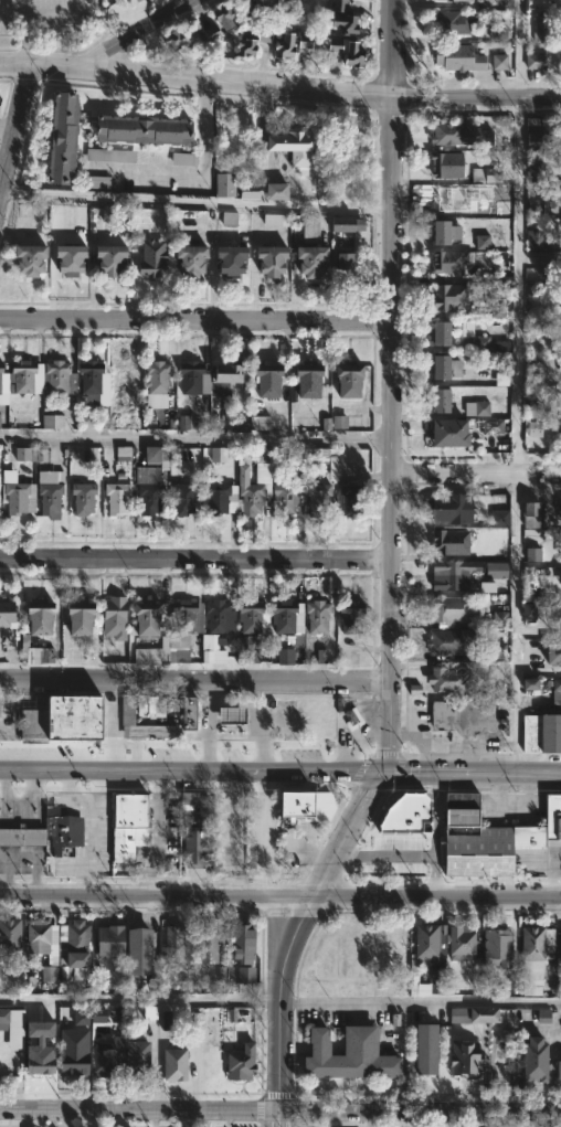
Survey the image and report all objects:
building: (134, 0)
building: (453, 0)
building: (293, 2)
building: (507, 3)
building: (251, 9)
road: (12, 17)
parking lot: (42, 17)
building: (340, 17)
road: (56, 18)
building: (216, 22)
building: (453, 22)
park: (44, 23)
building: (539, 26)
road: (142, 32)
building: (499, 32)
building: (178, 35)
road: (25, 39)
building: (305, 41)
building: (277, 42)
building: (245, 46)
road: (391, 46)
building: (345, 51)
building: (456, 56)
building: (537, 61)
building: (499, 62)
road: (279, 83)
road: (15, 128)
building: (137, 129)
building: (457, 132)
building: (60, 135)
building: (538, 140)
building: (286, 143)
building: (110, 155)
building: (559, 157)
building: (183, 158)
building: (462, 167)
road: (197, 171)
building: (534, 172)
building: (97, 182)
building: (224, 183)
building: (274, 190)
building: (560, 191)
building: (250, 194)
building: (442, 196)
road: (194, 201)
building: (534, 208)
building: (275, 219)
building: (348, 224)
building: (310, 231)
building: (442, 231)
building: (538, 240)
building: (483, 242)
building: (25, 257)
building: (151, 257)
building: (66, 258)
building: (104, 258)
building: (268, 258)
building: (308, 258)
building: (189, 259)
building: (227, 259)
building: (345, 261)
building: (446, 262)
building: (547, 265)
building: (504, 279)
building: (448, 297)
building: (497, 307)
road: (195, 319)
building: (440, 331)
building: (480, 343)
building: (443, 366)
building: (1, 368)
building: (21, 375)
building: (190, 375)
building: (120, 376)
building: (56, 378)
building: (226, 378)
building: (265, 378)
building: (304, 379)
building: (502, 379)
road: (517, 379)
building: (1, 380)
building: (346, 380)
building: (89, 381)
building: (156, 382)
building: (437, 400)
building: (477, 408)
building: (0, 416)
building: (52, 422)
building: (187, 422)
building: (335, 422)
building: (260, 423)
building: (493, 426)
building: (534, 428)
building: (446, 433)
road: (390, 435)
road: (194, 436)
building: (123, 453)
building: (30, 454)
building: (152, 454)
building: (219, 454)
building: (330, 457)
road: (475, 472)
building: (252, 488)
building: (317, 496)
building: (182, 497)
building: (216, 497)
building: (18, 498)
building: (82, 498)
building: (115, 498)
building: (147, 498)
building: (350, 498)
building: (49, 499)
building: (283, 499)
building: (447, 509)
building: (559, 513)
building: (531, 514)
building: (500, 518)
building: (447, 542)
building: (559, 549)
building: (532, 554)
road: (195, 557)
building: (496, 570)
building: (449, 574)
building: (454, 608)
building: (4, 614)
building: (214, 616)
building: (280, 616)
building: (315, 616)
building: (349, 616)
building: (74, 617)
building: (113, 617)
building: (252, 617)
building: (141, 619)
building: (181, 627)
building: (33, 632)
building: (444, 642)
building: (214, 647)
building: (247, 650)
building: (497, 650)
building: (279, 652)
building: (80, 655)
building: (551, 655)
building: (146, 656)
road: (193, 679)
building: (447, 681)
building: (530, 683)
building: (555, 693)
building: (148, 706)
building: (186, 713)
building: (464, 714)
building: (227, 717)
gas station: (227, 717)
building: (65, 720)
building: (124, 721)
road: (207, 727)
building: (541, 733)
road: (490, 757)
road: (154, 775)
road: (342, 775)
traffic signals: (377, 775)
road: (425, 775)
road: (518, 776)
road: (499, 789)
building: (195, 804)
building: (300, 806)
building: (404, 814)
building: (126, 825)
road: (88, 829)
building: (63, 832)
building: (20, 834)
road: (435, 836)
building: (490, 836)
road: (160, 838)
building: (193, 846)
road: (280, 897)
building: (9, 933)
building: (458, 938)
building: (106, 939)
building: (239, 940)
road: (293, 940)
building: (427, 942)
building: (170, 945)
building: (495, 946)
building: (42, 947)
building: (73, 948)
building: (136, 950)
building: (536, 951)
building: (207, 956)
building: (246, 974)
building: (436, 979)
building: (414, 981)
road: (279, 1004)
building: (89, 1010)
building: (472, 1014)
building: (3, 1018)
building: (81, 1018)
building: (424, 1049)
building: (74, 1052)
building: (105, 1057)
building: (134, 1057)
building: (347, 1057)
building: (464, 1057)
building: (38, 1059)
building: (533, 1060)
building: (239, 1061)
building: (172, 1063)
building: (557, 1070)
road: (280, 1110)

